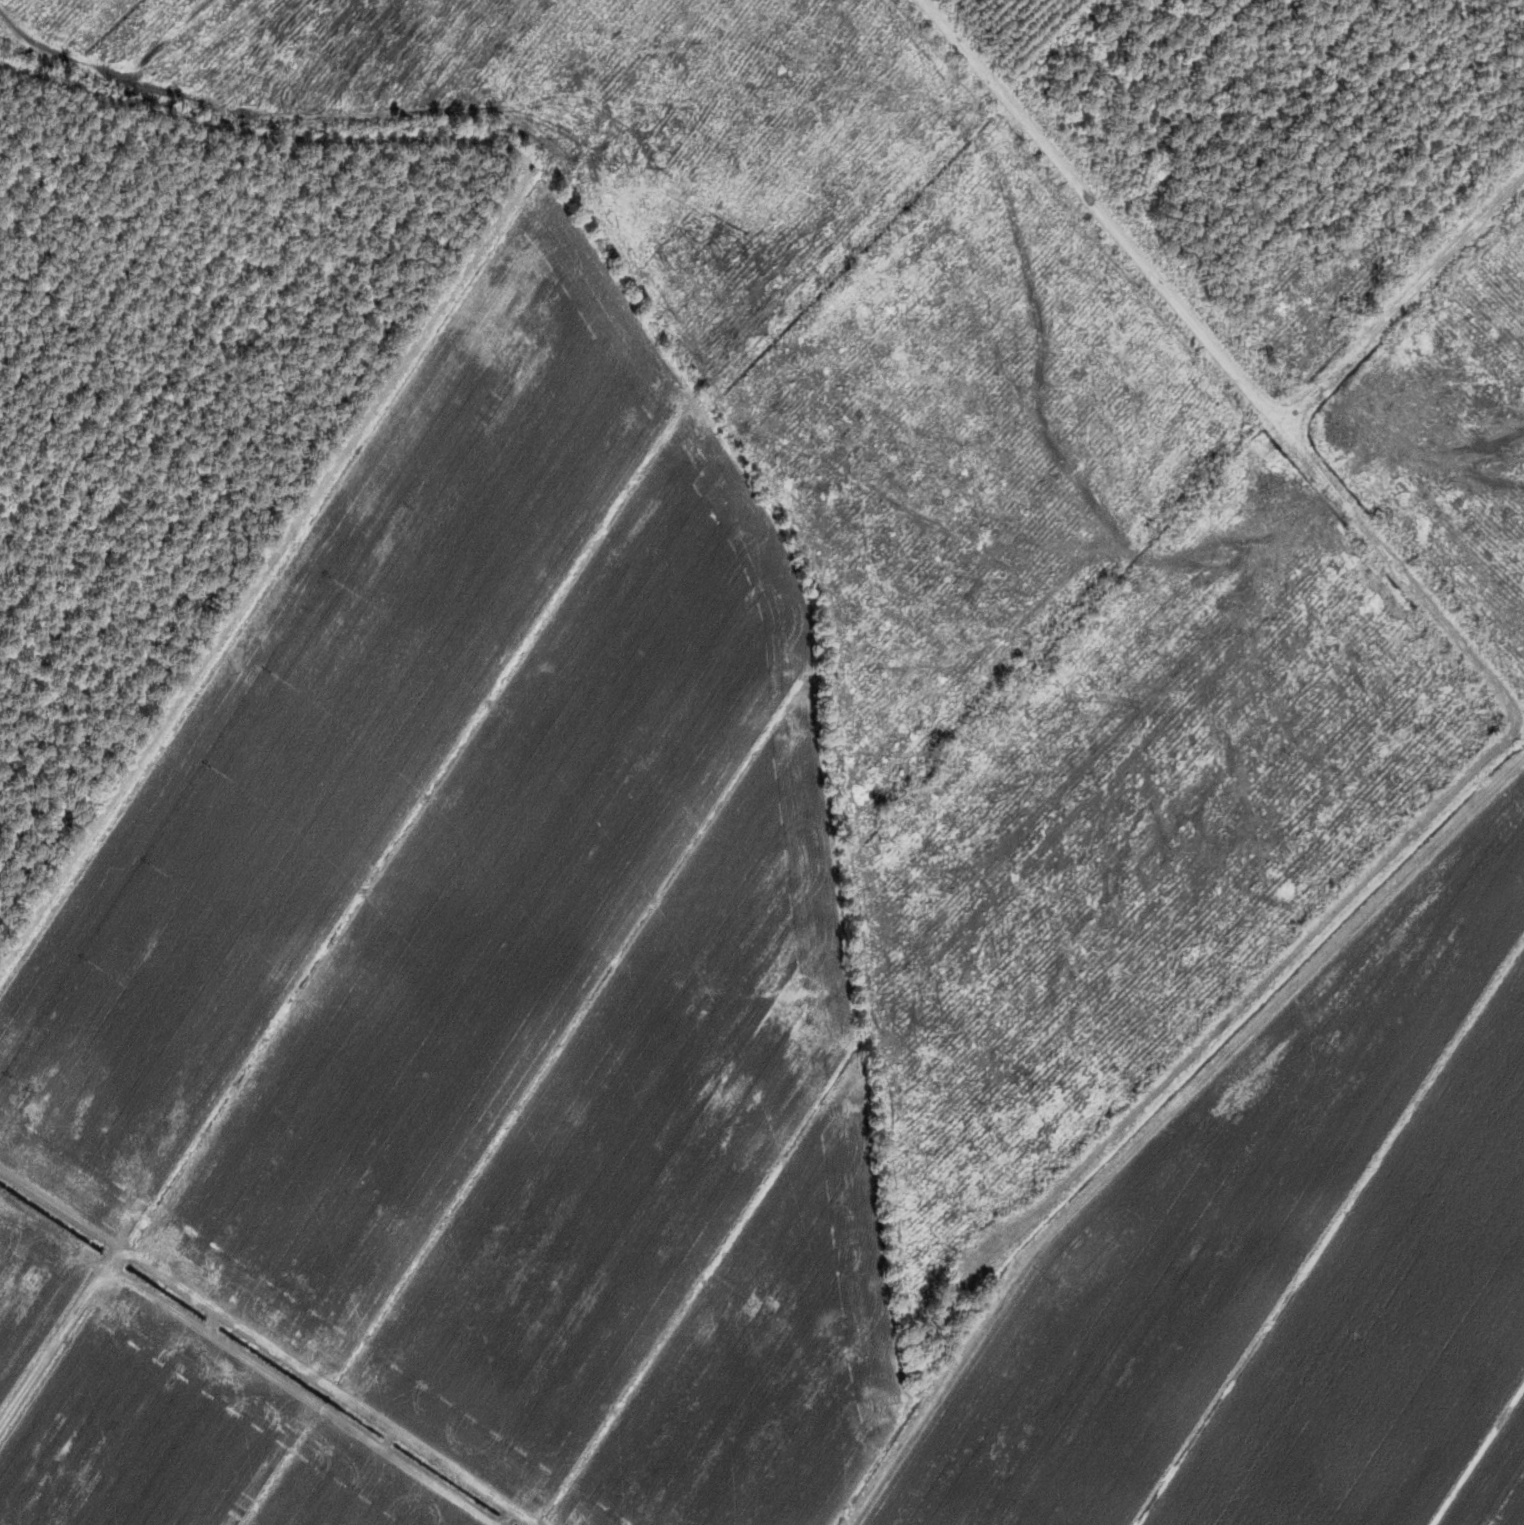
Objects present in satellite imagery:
road: (1394, 305)
road: (1482, 666)
road: (235, 1326)

